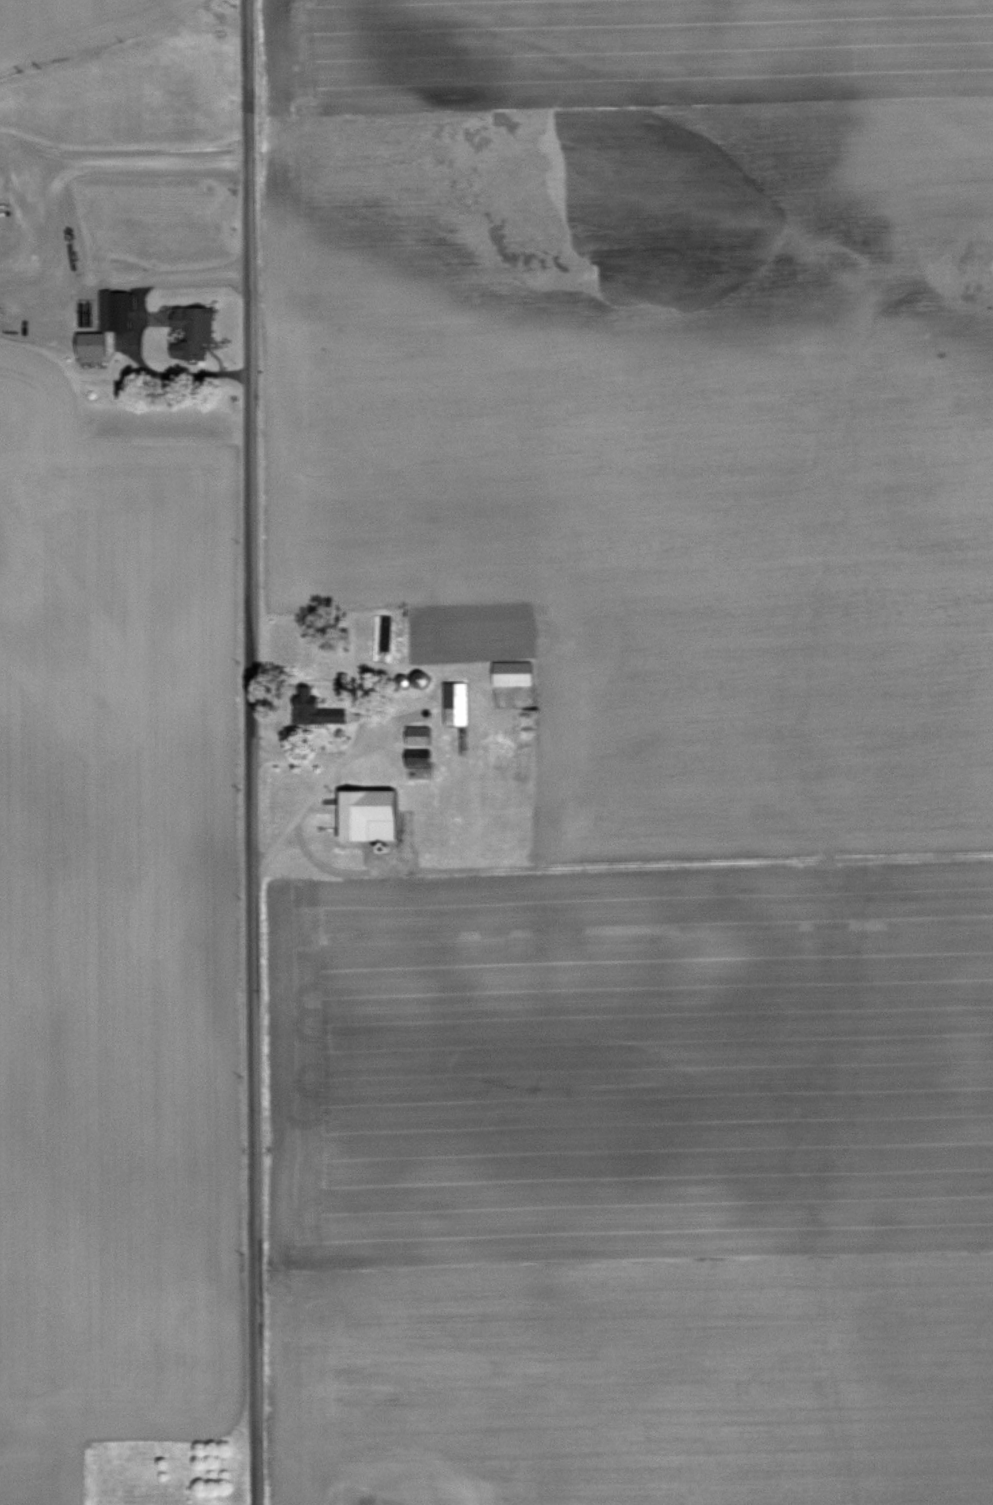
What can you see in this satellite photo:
road: (26, 154)
road: (51, 223)
building: (112, 318)
building: (190, 330)
building: (511, 673)
building: (418, 678)
building: (455, 703)
building: (313, 708)
building: (417, 734)
road: (377, 738)
road: (248, 752)
building: (417, 762)
road: (323, 787)
building: (366, 814)

